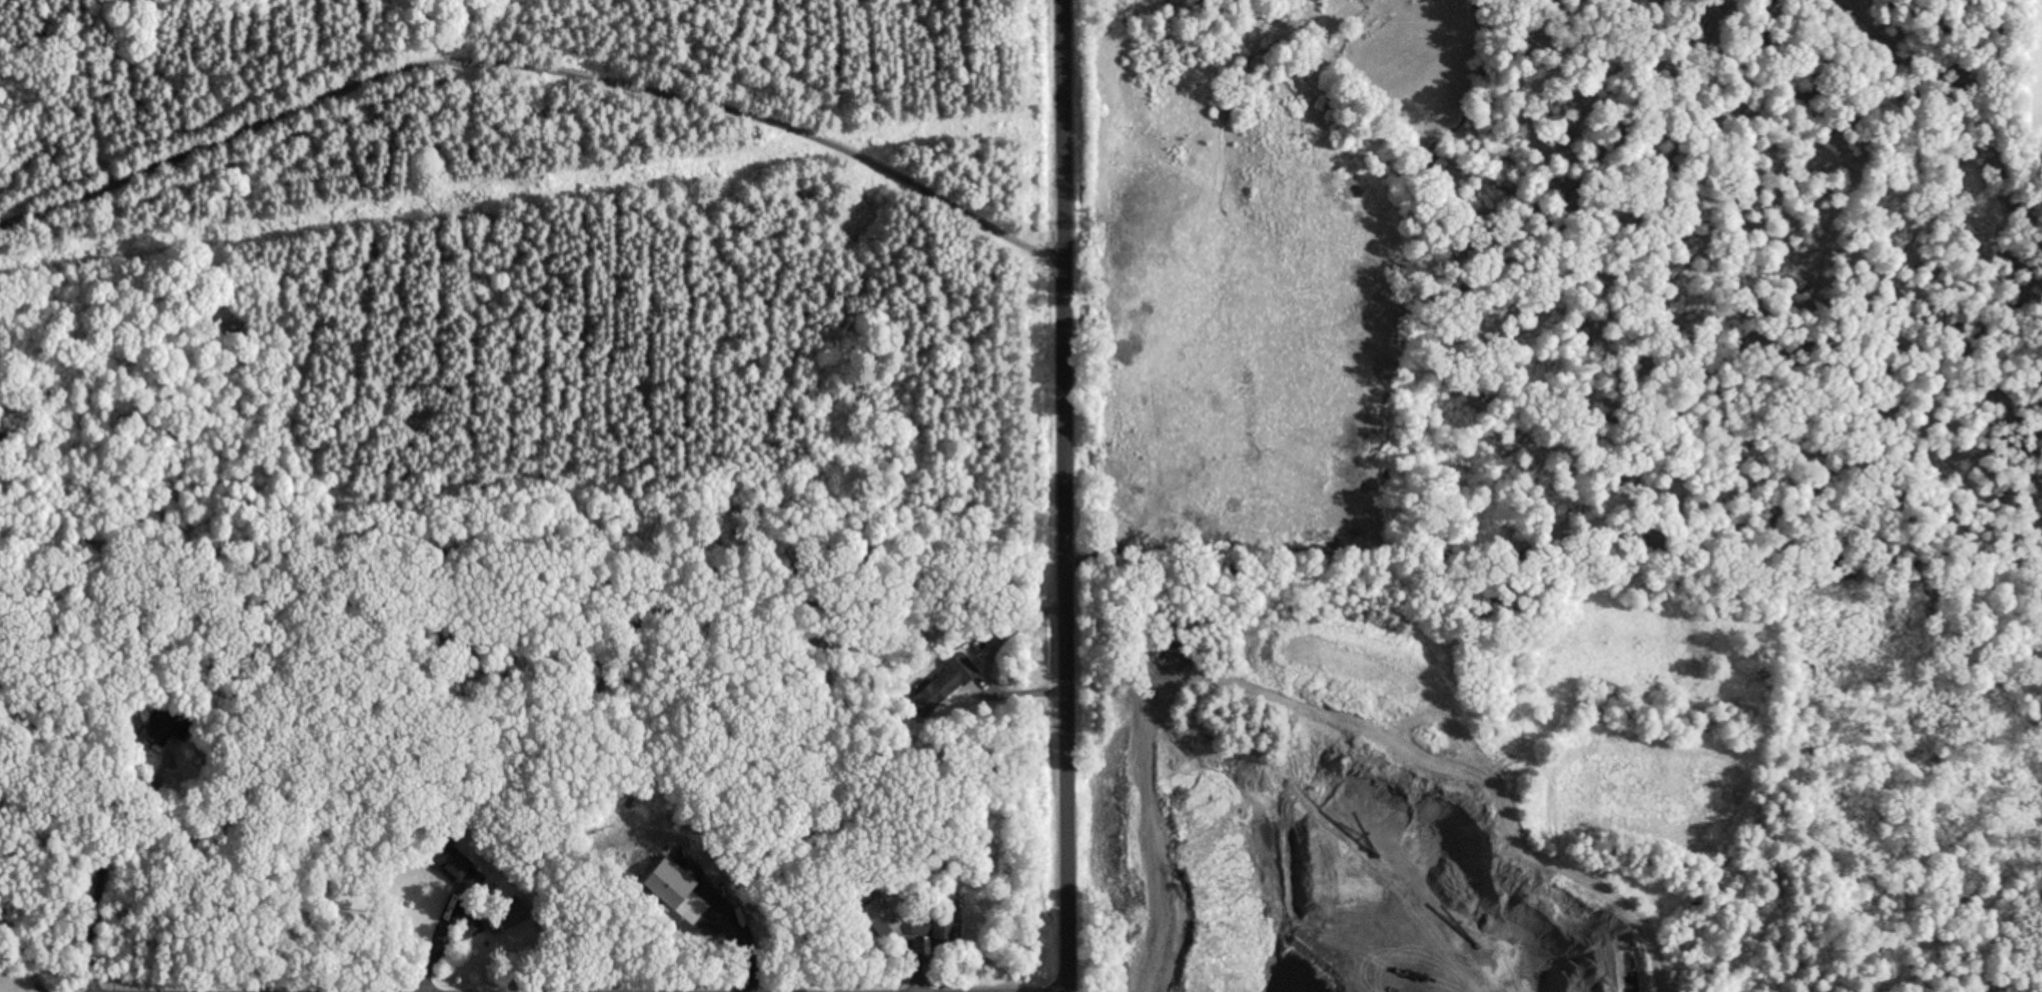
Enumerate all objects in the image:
road: (534, 96)
road: (1066, 495)
building: (945, 686)
building: (162, 732)
quarry: (1561, 768)
building: (453, 863)
building: (506, 918)
building: (880, 918)
building: (934, 926)

